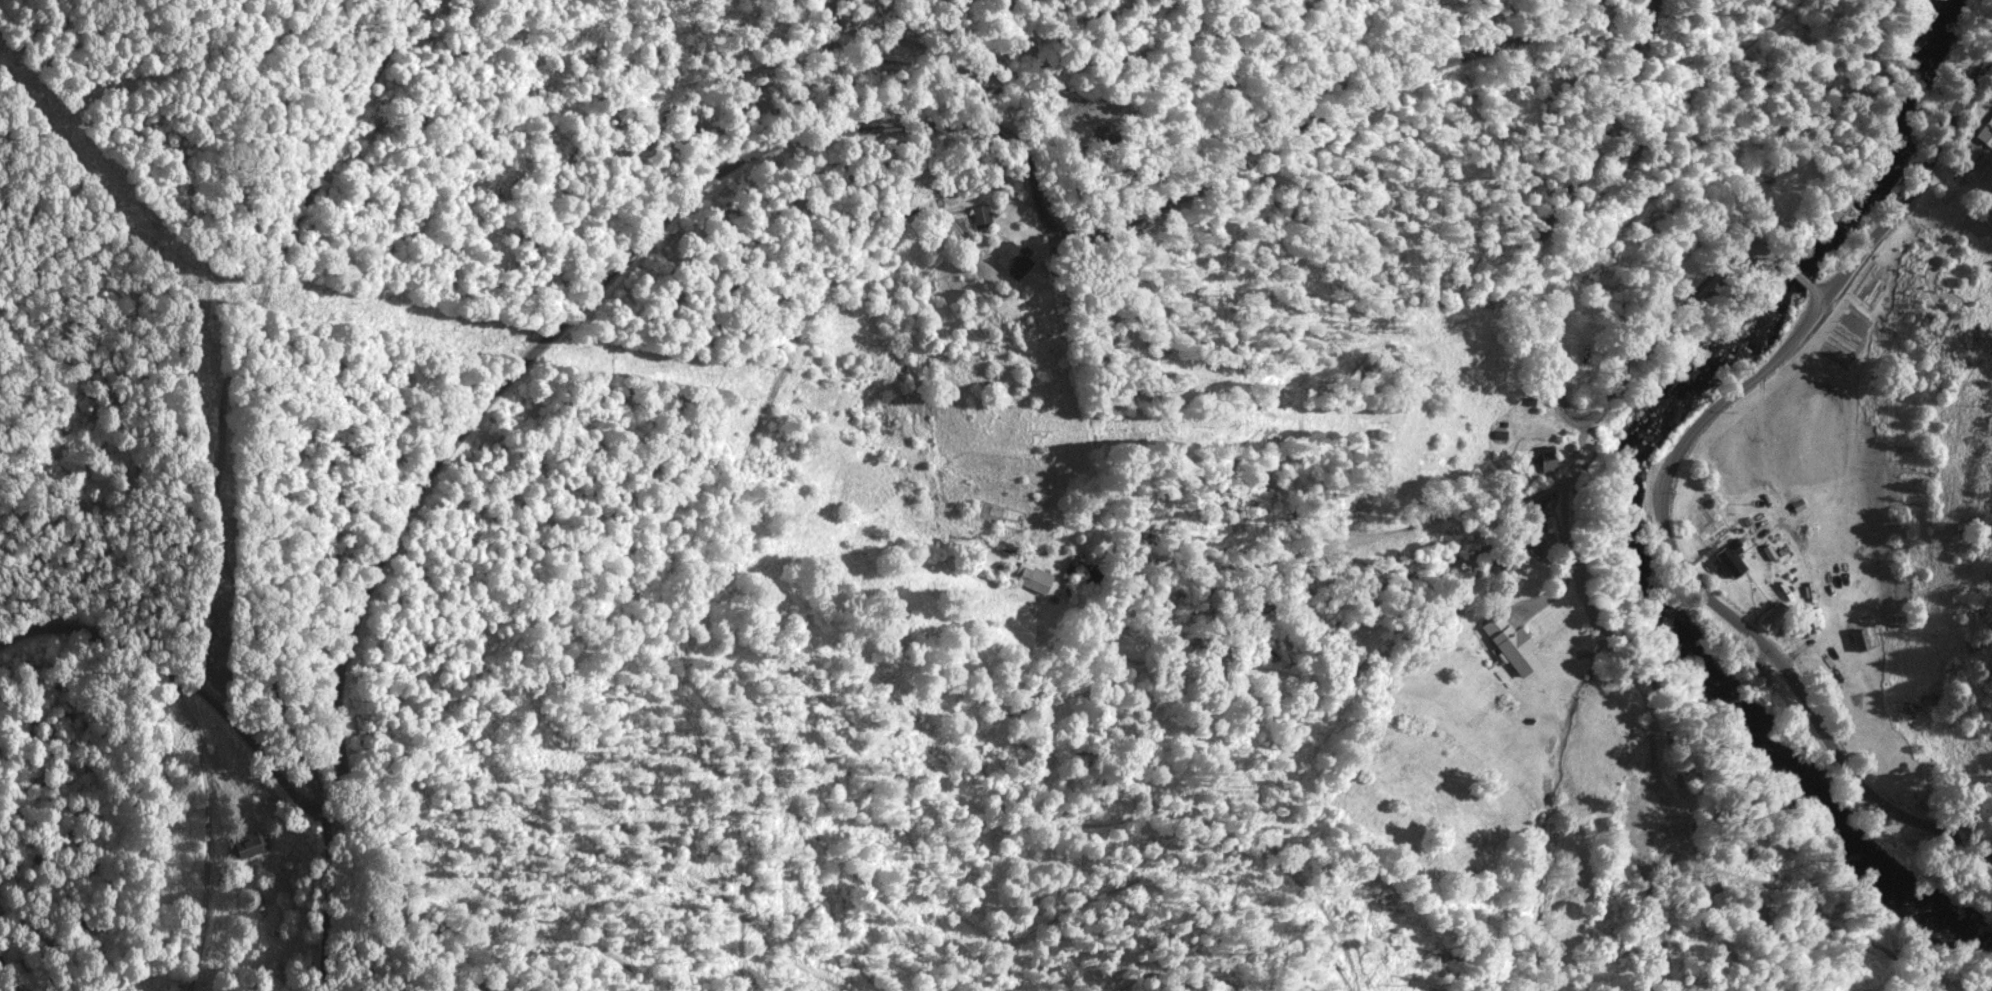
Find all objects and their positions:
building: (1985, 131)
road: (638, 197)
building: (981, 215)
building: (1015, 260)
road: (1540, 385)
building: (1546, 458)
road: (1744, 461)
road: (176, 476)
building: (1730, 557)
building: (1033, 576)
building: (1773, 614)
building: (1860, 638)
building: (1512, 642)
road: (194, 843)
building: (246, 843)

